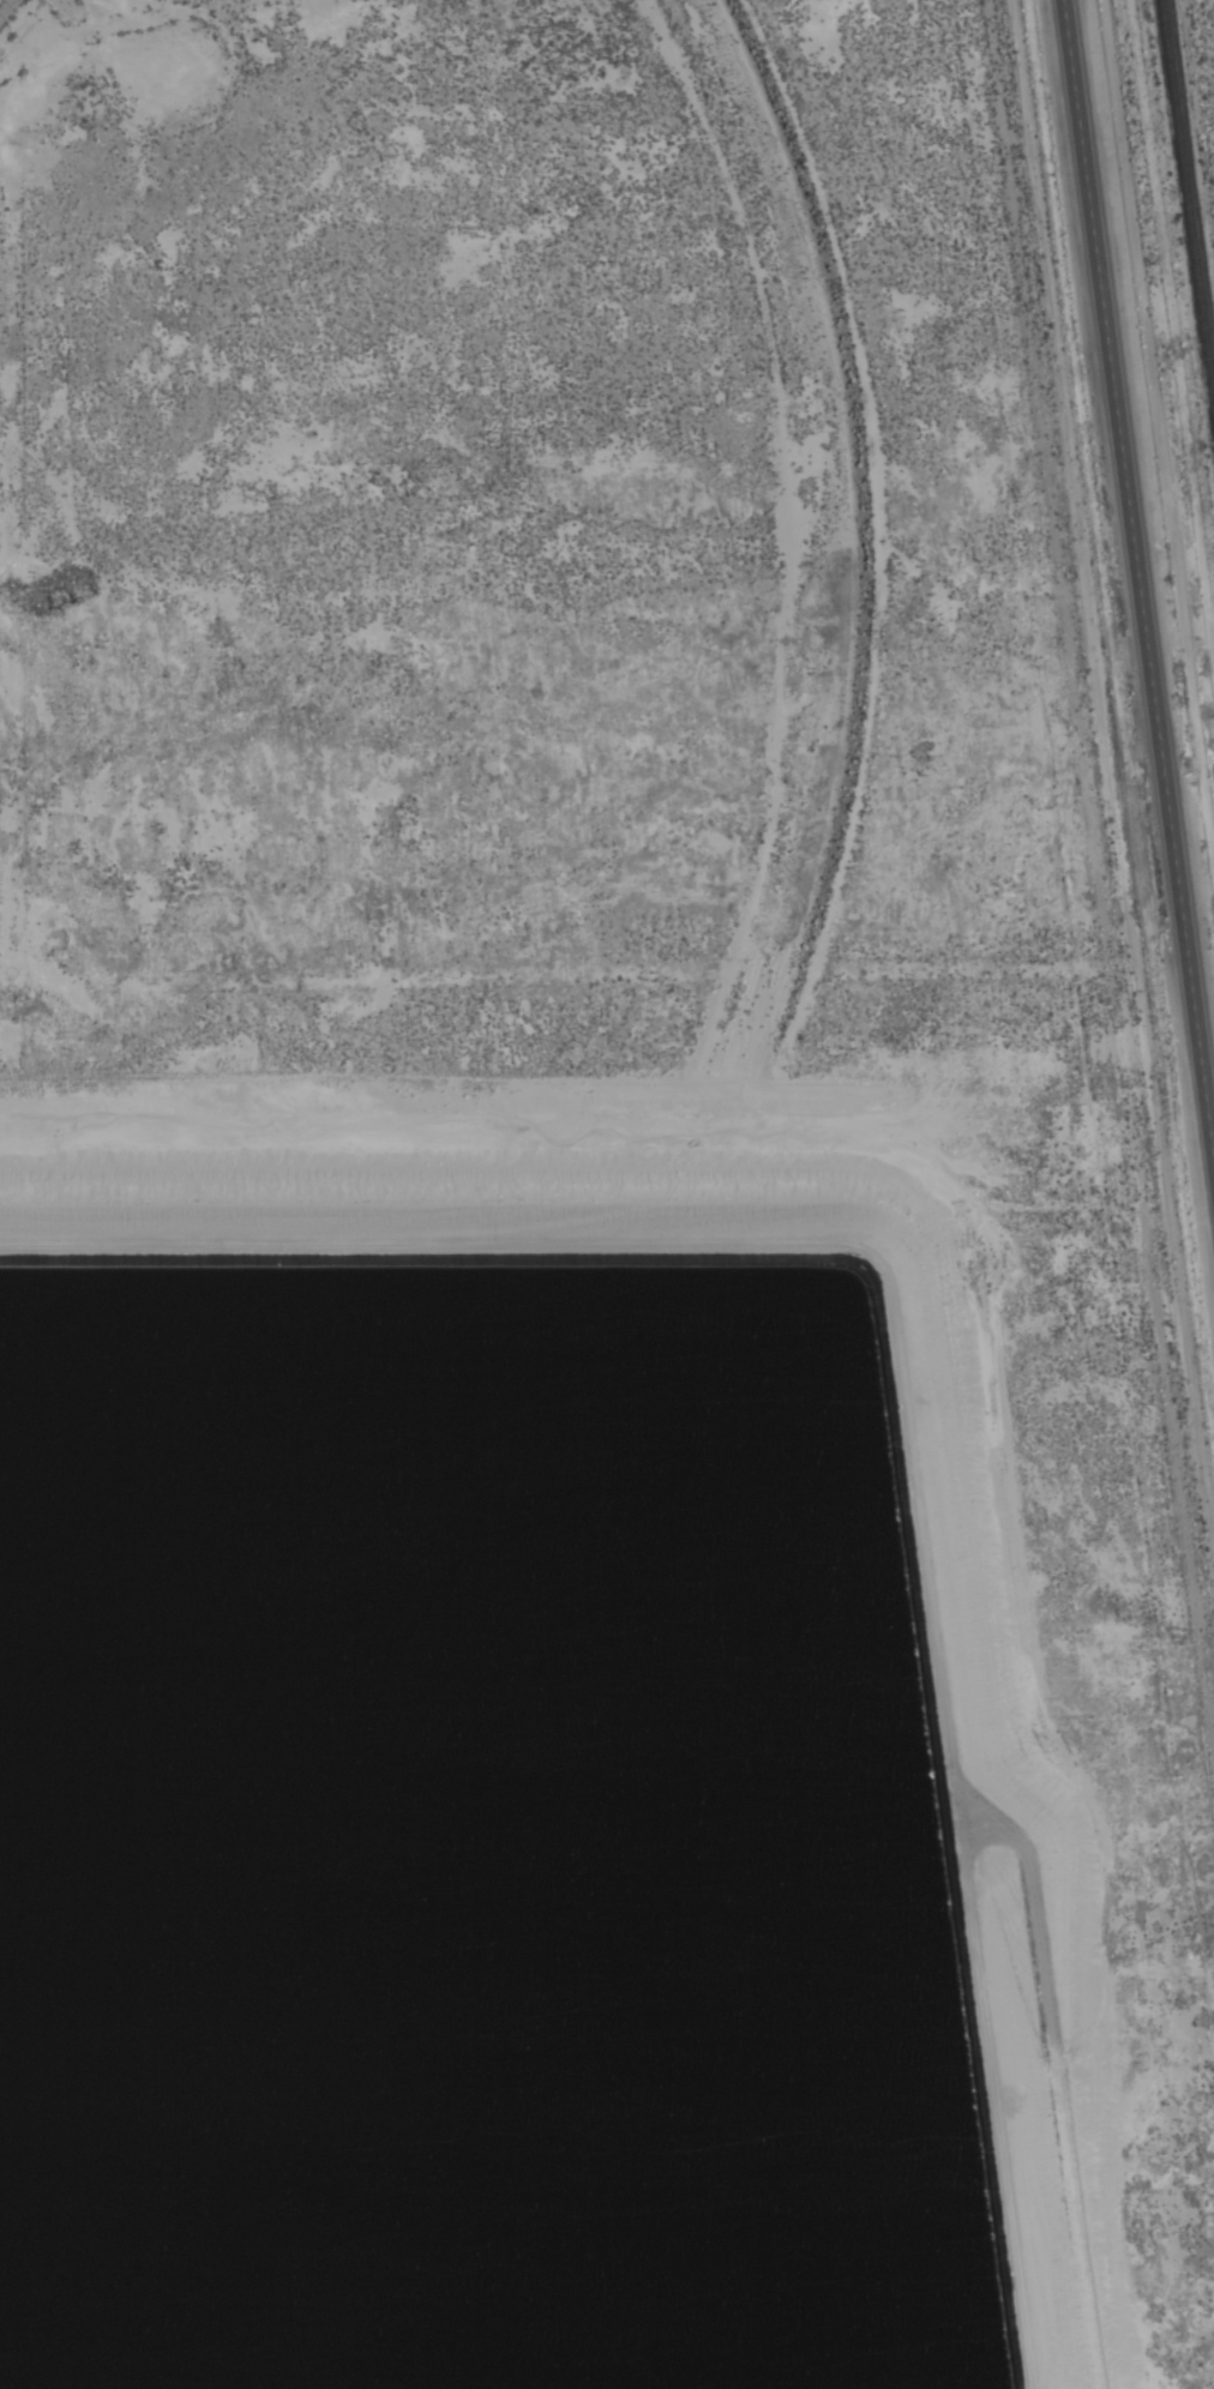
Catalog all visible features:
railway: (1188, 201)
road: (1136, 584)
wastewater plant: (600, 1738)

